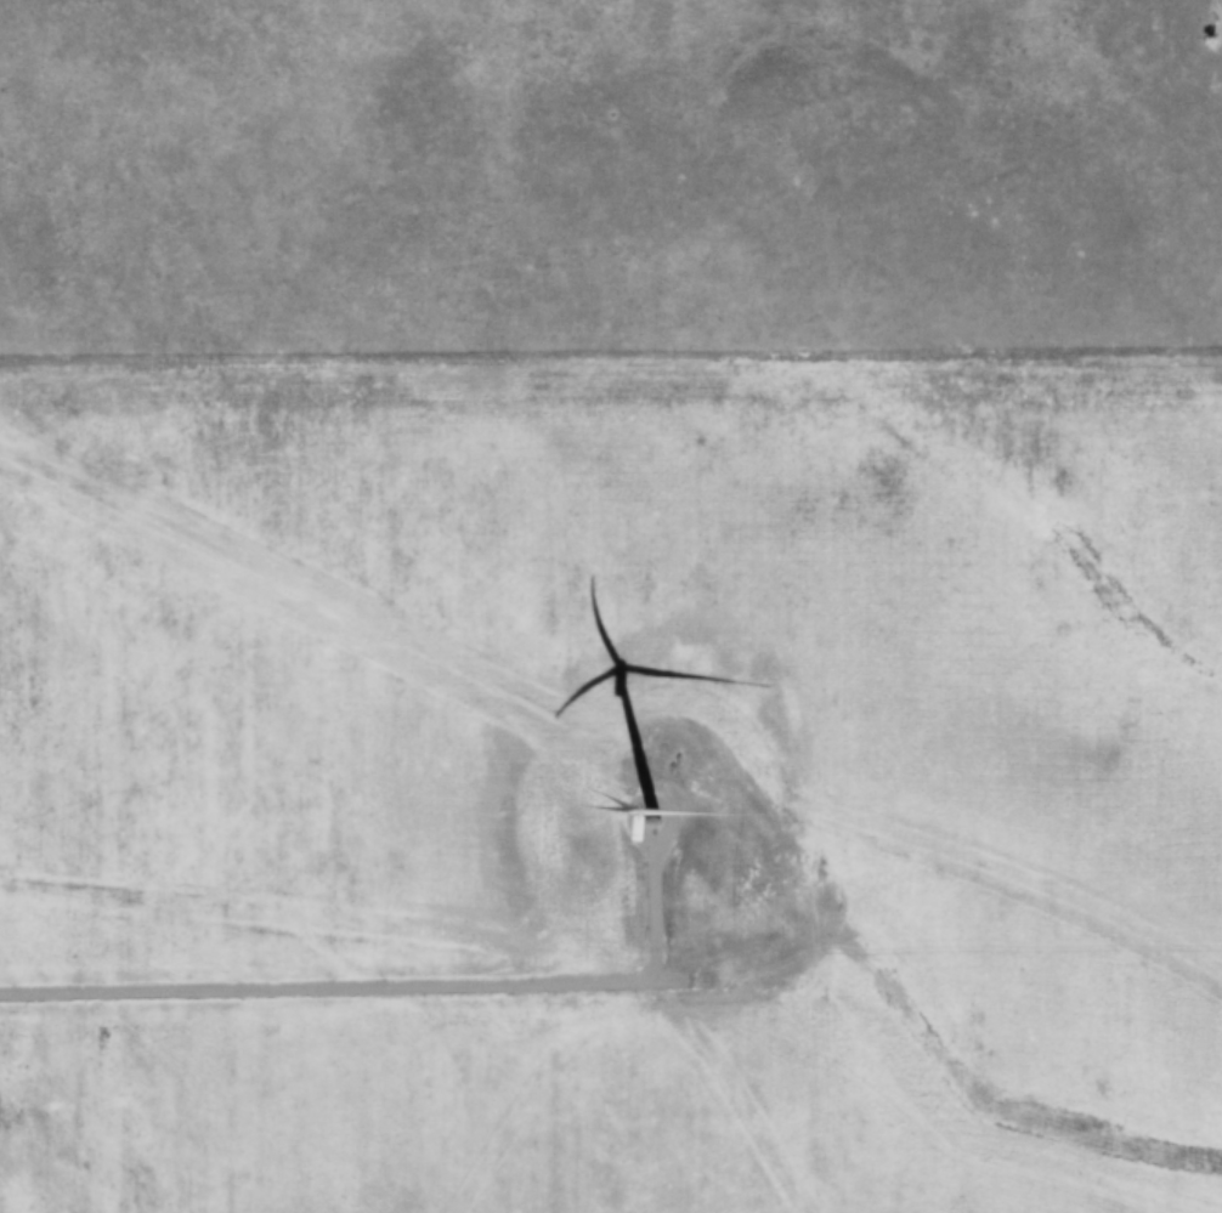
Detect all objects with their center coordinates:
wind turbine: (651, 817)

